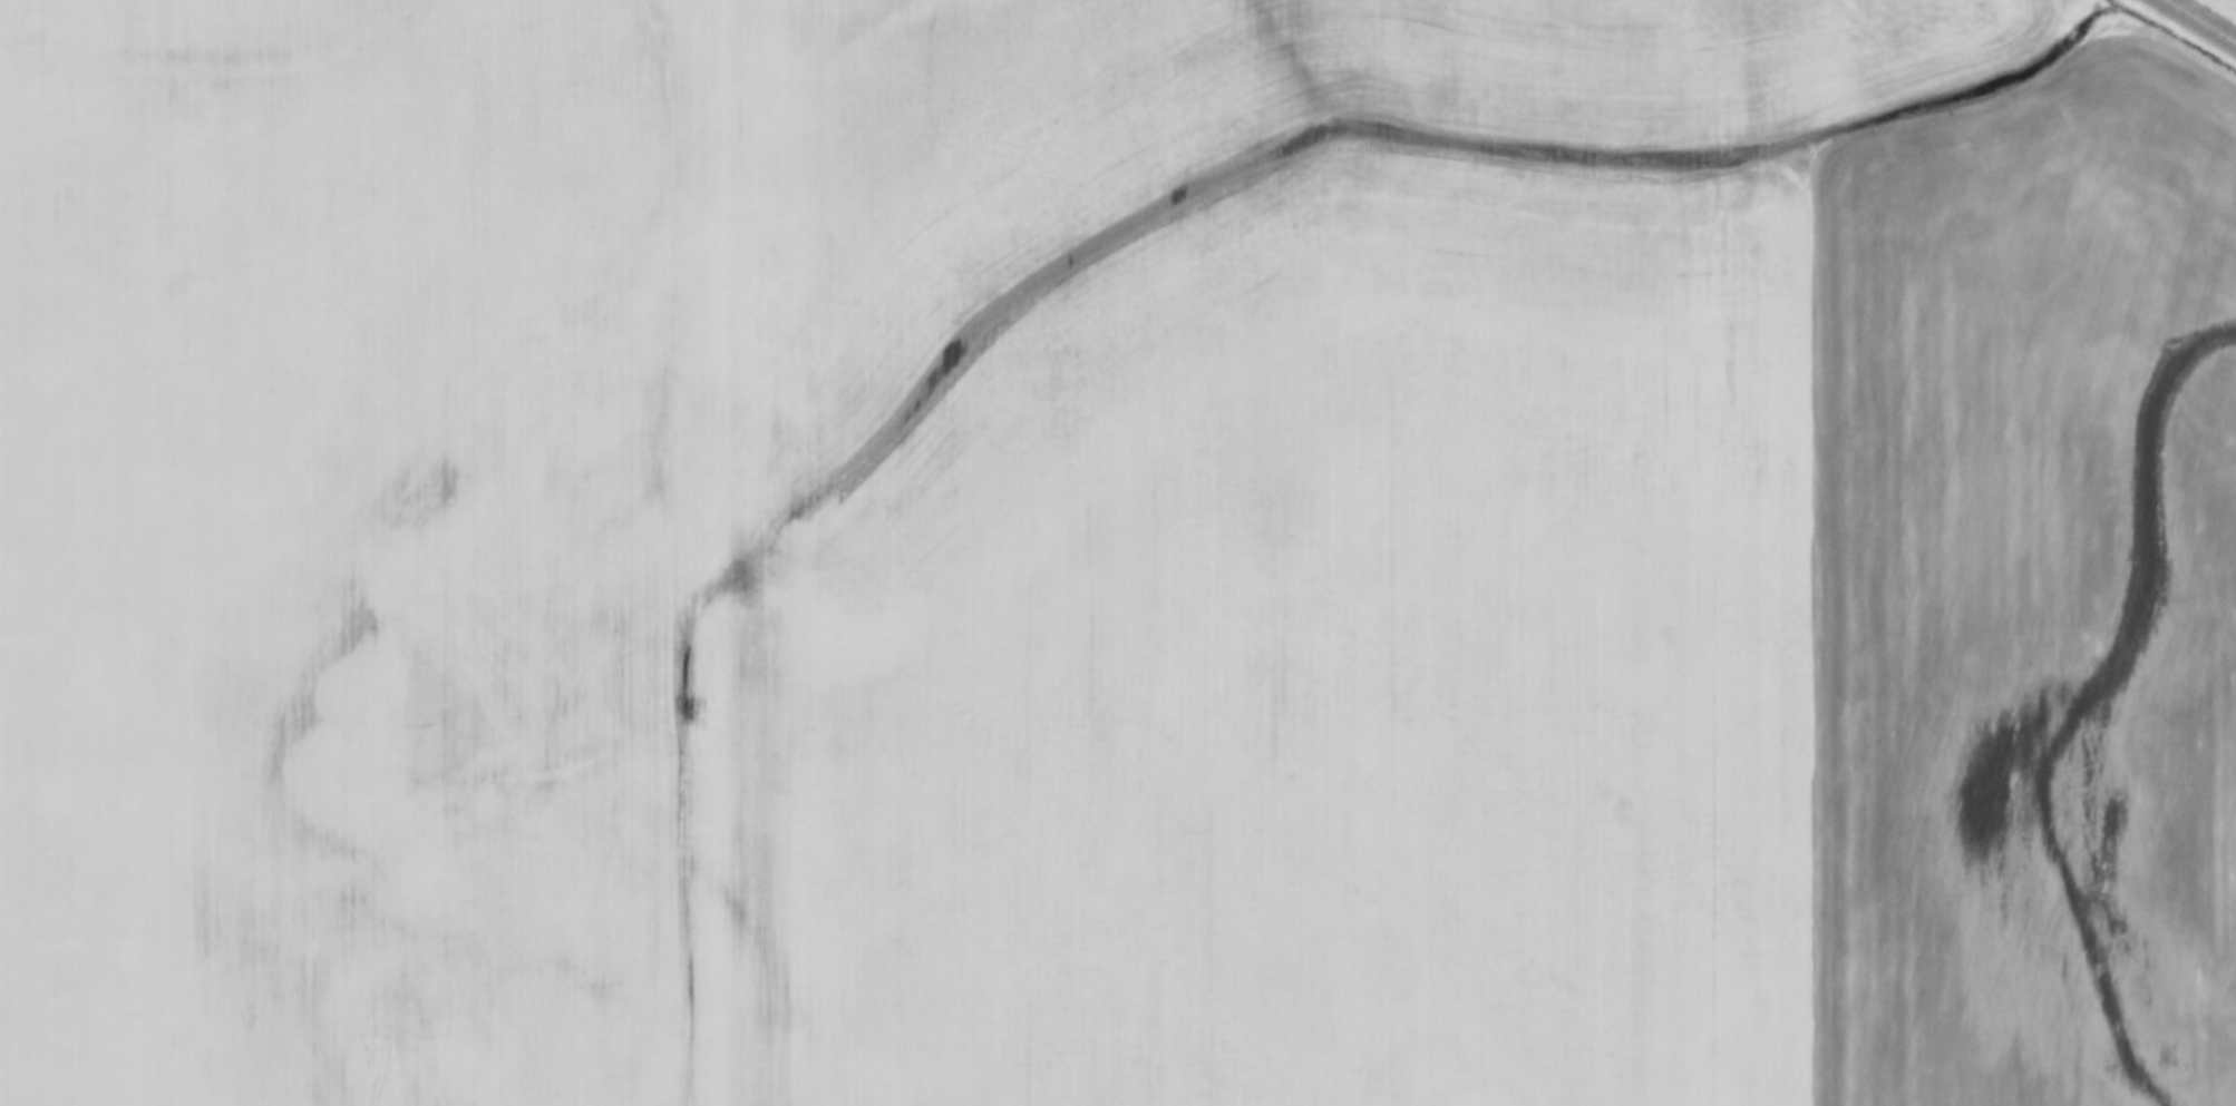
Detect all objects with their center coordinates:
railway: (2204, 19)

